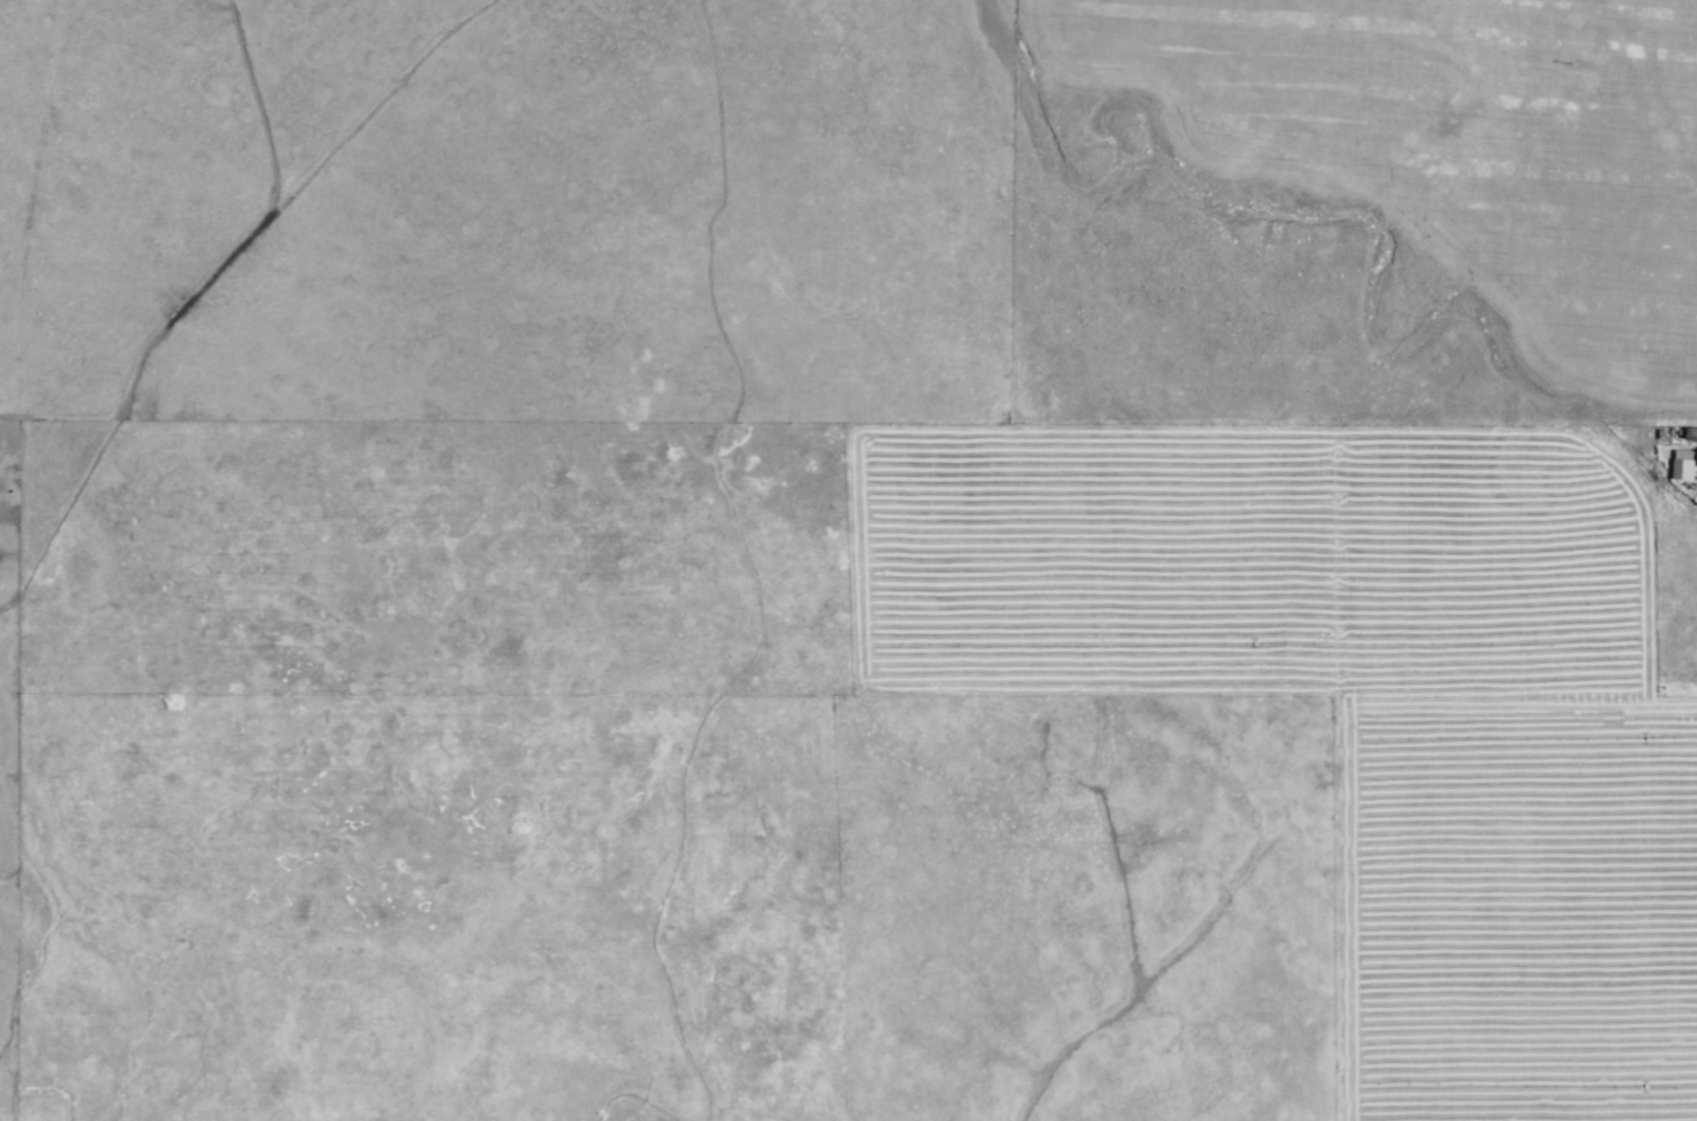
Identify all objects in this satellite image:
building: (1680, 464)
crop: (848, 560)

